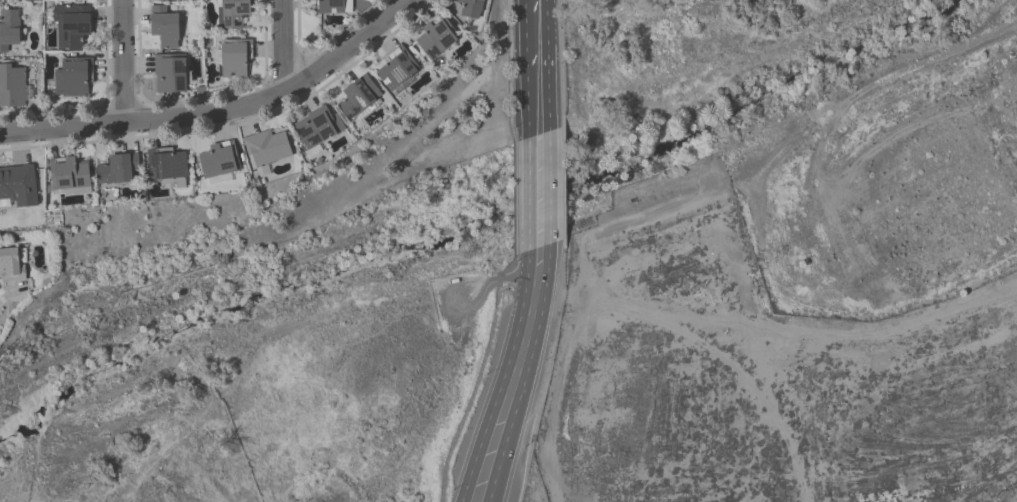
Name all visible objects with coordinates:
building: (169, 0)
road: (560, 0)
building: (330, 7)
building: (470, 8)
building: (233, 13)
building: (72, 26)
building: (165, 27)
building: (9, 29)
road: (527, 29)
building: (437, 38)
road: (282, 46)
building: (234, 59)
road: (123, 61)
road: (561, 63)
road: (548, 65)
building: (397, 70)
road: (510, 71)
building: (170, 74)
building: (74, 78)
building: (13, 86)
building: (359, 97)
road: (528, 98)
road: (217, 112)
building: (318, 127)
building: (269, 147)
building: (218, 163)
building: (169, 167)
building: (118, 169)
building: (71, 174)
building: (18, 187)
road: (564, 187)
road: (549, 188)
road: (529, 194)
road: (515, 198)
building: (10, 265)
road: (509, 268)
road: (537, 277)
road: (513, 278)
road: (514, 292)
road: (477, 303)
road: (525, 374)
road: (503, 378)
road: (473, 392)

